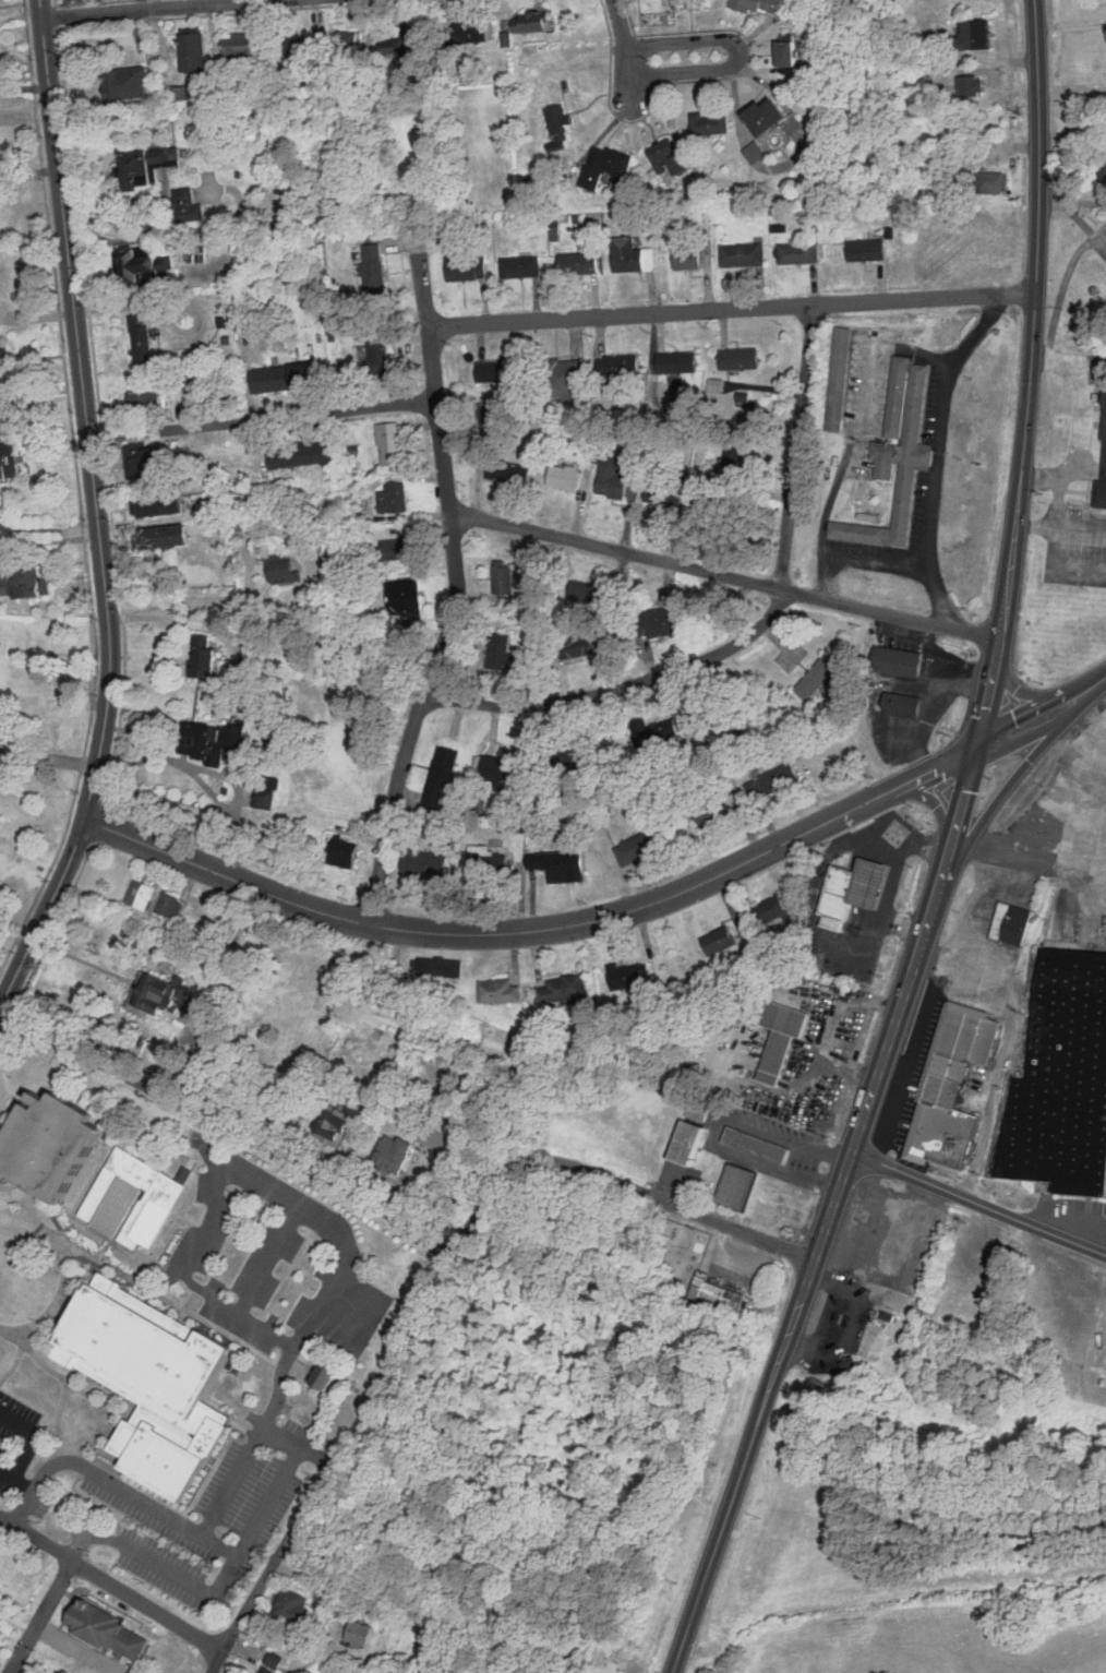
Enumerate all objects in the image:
building: (692, 1)
building: (758, 4)
road: (156, 10)
building: (533, 21)
building: (474, 29)
building: (979, 34)
building: (508, 39)
building: (349, 40)
building: (410, 41)
building: (299, 45)
building: (240, 47)
building: (195, 48)
road: (741, 50)
road: (626, 52)
building: (792, 52)
building: (793, 69)
building: (122, 83)
building: (991, 83)
road: (24, 86)
road: (1071, 91)
building: (197, 92)
building: (180, 94)
building: (769, 116)
building: (712, 122)
building: (794, 122)
building: (561, 126)
building: (756, 152)
building: (669, 155)
building: (148, 165)
building: (606, 166)
building: (1104, 167)
road: (28, 172)
building: (994, 181)
building: (189, 205)
building: (648, 228)
building: (556, 230)
building: (869, 249)
building: (802, 253)
building: (628, 254)
building: (745, 254)
building: (689, 256)
building: (580, 262)
building: (373, 263)
building: (139, 264)
building: (522, 266)
building: (469, 267)
road: (423, 290)
road: (130, 304)
road: (731, 307)
road: (37, 316)
building: (226, 321)
building: (166, 336)
building: (142, 340)
building: (382, 354)
building: (741, 358)
building: (680, 362)
building: (3, 363)
building: (621, 363)
building: (498, 371)
building: (308, 374)
building: (566, 378)
building: (272, 379)
building: (838, 379)
building: (190, 380)
building: (717, 385)
building: (900, 396)
building: (146, 397)
building: (745, 399)
road: (1083, 402)
building: (1102, 416)
building: (494, 418)
road: (262, 419)
road: (859, 421)
building: (1105, 435)
building: (392, 441)
building: (302, 451)
building: (905, 454)
road: (939, 454)
building: (8, 456)
building: (149, 459)
building: (509, 471)
building: (565, 477)
building: (617, 477)
road: (1059, 478)
building: (702, 479)
building: (665, 493)
building: (1102, 493)
building: (394, 495)
building: (159, 502)
road: (96, 513)
building: (869, 516)
road: (1034, 526)
road: (48, 530)
building: (165, 533)
road: (1053, 542)
building: (397, 546)
road: (858, 558)
building: (281, 565)
building: (505, 575)
road: (723, 575)
building: (26, 582)
building: (590, 590)
building: (405, 598)
road: (182, 602)
building: (668, 618)
road: (452, 629)
road: (755, 636)
building: (579, 644)
building: (503, 650)
building: (204, 655)
building: (900, 659)
building: (818, 676)
road: (1104, 685)
building: (903, 694)
road: (1038, 694)
building: (900, 704)
road: (1041, 710)
building: (737, 715)
building: (275, 726)
building: (218, 728)
building: (657, 731)
traffic signals: (976, 748)
building: (564, 756)
road: (48, 757)
road: (217, 762)
road: (1026, 763)
building: (504, 769)
building: (443, 772)
building: (783, 776)
building: (756, 788)
road: (178, 791)
building: (266, 791)
building: (738, 799)
road: (933, 801)
building: (713, 808)
building: (520, 823)
building: (648, 844)
building: (345, 850)
road: (946, 855)
building: (428, 860)
road: (1029, 860)
building: (489, 861)
building: (562, 863)
gas station: (874, 870)
road: (1104, 875)
building: (842, 884)
road: (1104, 894)
building: (153, 897)
building: (1012, 908)
building: (777, 910)
road: (539, 929)
building: (721, 939)
building: (441, 965)
building: (629, 975)
building: (566, 989)
building: (501, 990)
building: (159, 991)
building: (791, 1005)
building: (969, 1024)
road: (1007, 1044)
building: (781, 1050)
building: (949, 1053)
building: (340, 1069)
building: (196, 1073)
building: (943, 1077)
building: (1062, 1083)
building: (698, 1109)
building: (945, 1121)
building: (336, 1124)
road: (229, 1125)
building: (50, 1126)
road: (720, 1131)
building: (692, 1143)
road: (208, 1144)
building: (758, 1144)
building: (396, 1151)
building: (164, 1183)
road: (257, 1186)
building: (740, 1186)
road: (978, 1197)
road: (665, 1203)
road: (1068, 1217)
road: (289, 1227)
building: (875, 1256)
building: (719, 1279)
road: (191, 1282)
building: (716, 1292)
road: (365, 1303)
building: (957, 1303)
road: (297, 1343)
building: (153, 1369)
building: (323, 1376)
road: (364, 1408)
road: (35, 1436)
road: (284, 1437)
road: (7, 1473)
road: (233, 1480)
road: (115, 1483)
road: (24, 1484)
road: (223, 1579)
road: (112, 1582)
building: (294, 1606)
road: (41, 1616)
building: (1, 1623)
building: (107, 1629)
building: (363, 1635)
building: (2, 1638)
road: (77, 1648)
building: (275, 1660)
building: (266, 1670)

